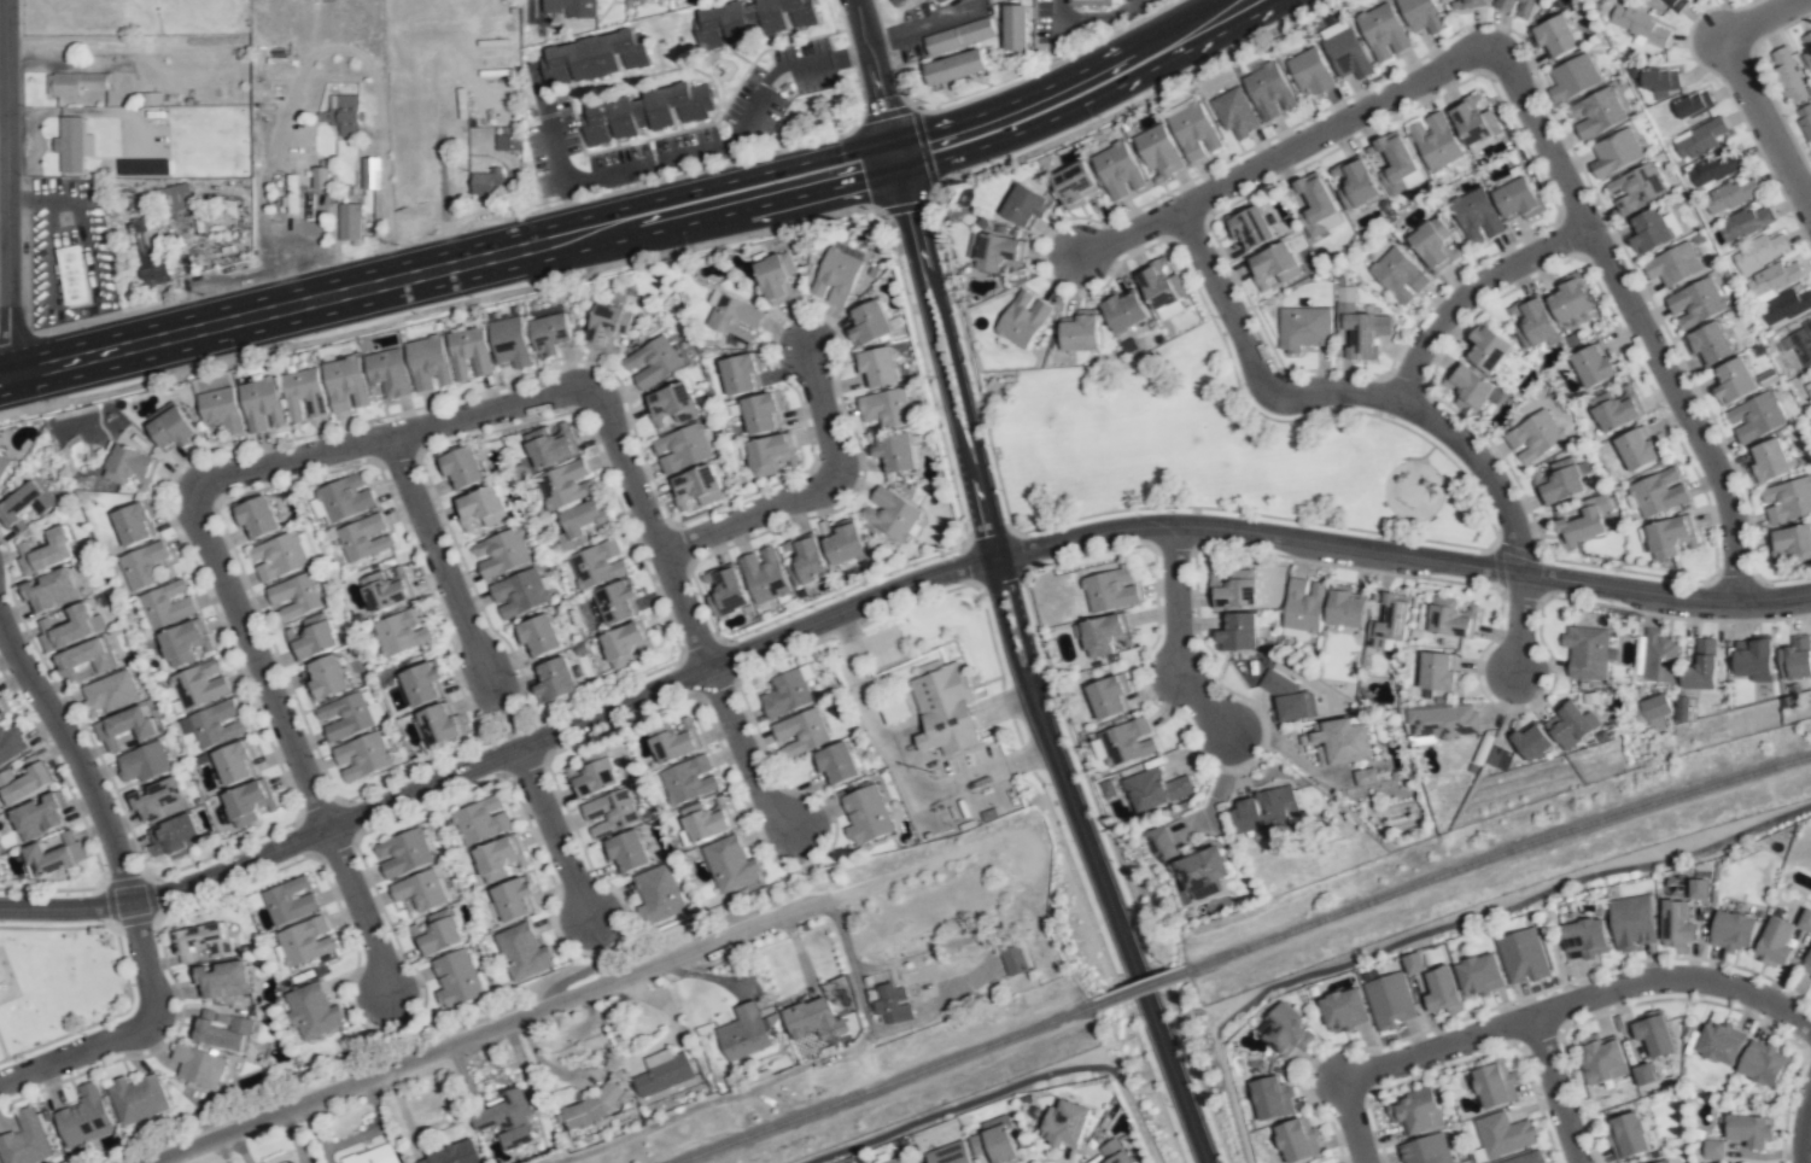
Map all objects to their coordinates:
building: (936, 0)
building: (896, 1)
building: (1089, 2)
building: (1472, 2)
building: (1525, 4)
building: (1677, 4)
road: (525, 7)
building: (571, 7)
road: (1051, 11)
building: (1421, 14)
building: (750, 21)
road: (1096, 21)
road: (928, 24)
building: (1642, 25)
building: (1015, 28)
building: (1332, 29)
building: (1383, 29)
road: (1186, 31)
building: (958, 36)
building: (1554, 37)
building: (1807, 45)
building: (1346, 54)
building: (592, 58)
building: (1307, 66)
building: (954, 68)
building: (1786, 68)
road: (886, 75)
building: (1573, 77)
road: (1092, 81)
building: (1661, 81)
building: (74, 83)
road: (1746, 87)
building: (1269, 92)
building: (1694, 105)
road: (284, 110)
building: (1235, 112)
building: (644, 113)
building: (1595, 113)
building: (345, 115)
road: (5, 119)
building: (1806, 119)
building: (1473, 121)
building: (1193, 132)
road: (1327, 134)
building: (1150, 139)
building: (1699, 140)
building: (1436, 141)
building: (507, 142)
building: (72, 145)
road: (699, 148)
building: (1616, 153)
building: (1398, 164)
building: (1717, 169)
building: (1118, 171)
building: (320, 177)
building: (485, 181)
building: (1073, 182)
building: (1355, 183)
road: (11, 186)
building: (1636, 188)
road: (724, 194)
building: (1733, 194)
building: (175, 198)
building: (1517, 199)
road: (382, 200)
road: (1810, 204)
building: (1024, 205)
building: (1477, 216)
building: (1331, 218)
building: (350, 221)
building: (1746, 223)
building: (1249, 228)
building: (1649, 230)
road: (1126, 242)
building: (1431, 244)
building: (148, 251)
building: (997, 251)
building: (1760, 252)
building: (1275, 264)
building: (1673, 264)
building: (836, 274)
building: (72, 275)
building: (1400, 275)
building: (772, 276)
building: (1774, 279)
building: (1157, 284)
road: (1466, 296)
building: (1568, 298)
building: (1695, 303)
building: (1786, 308)
building: (1122, 310)
building: (1170, 310)
road: (1631, 316)
building: (732, 318)
building: (1533, 321)
building: (869, 323)
building: (1016, 326)
road: (193, 327)
building: (603, 327)
building: (1356, 327)
building: (550, 329)
building: (1301, 329)
building: (1081, 331)
building: (510, 341)
building: (1803, 343)
building: (1708, 344)
building: (1486, 347)
building: (469, 353)
building: (652, 362)
building: (428, 363)
building: (1595, 366)
building: (876, 367)
building: (389, 373)
building: (738, 374)
building: (1810, 379)
building: (1734, 381)
building: (345, 384)
building: (1470, 388)
building: (303, 395)
road: (1340, 397)
building: (261, 404)
building: (671, 407)
building: (886, 408)
building: (221, 409)
building: (1616, 409)
building: (761, 413)
building: (1755, 417)
building: (171, 428)
road: (399, 433)
building: (1533, 436)
building: (550, 444)
building: (680, 448)
park: (1205, 448)
building: (1636, 450)
building: (890, 451)
building: (771, 455)
building: (1768, 461)
building: (2, 466)
building: (130, 467)
building: (460, 468)
building: (1559, 481)
building: (566, 484)
building: (696, 486)
road: (817, 491)
building: (1658, 492)
building: (345, 497)
building: (1788, 499)
building: (25, 505)
building: (480, 508)
building: (890, 514)
building: (256, 518)
building: (135, 522)
building: (579, 524)
building: (1581, 527)
road: (656, 530)
building: (1669, 537)
building: (364, 538)
building: (1790, 543)
building: (845, 544)
building: (46, 551)
building: (501, 553)
building: (278, 556)
building: (806, 560)
road: (449, 562)
building: (591, 563)
road: (999, 563)
building: (141, 565)
building: (765, 574)
building: (387, 589)
building: (1232, 589)
building: (49, 590)
building: (1111, 590)
building: (519, 592)
building: (728, 592)
building: (294, 596)
road: (884, 600)
building: (617, 601)
building: (165, 604)
building: (1303, 604)
building: (1345, 607)
building: (1450, 618)
road: (1520, 626)
building: (66, 629)
building: (402, 631)
building: (1383, 631)
building: (1237, 632)
building: (1103, 633)
building: (537, 636)
road: (1178, 636)
building: (311, 637)
building: (183, 642)
building: (623, 644)
building: (1587, 653)
road: (268, 654)
building: (1658, 656)
building: (86, 658)
building: (1752, 659)
building: (1795, 659)
building: (1701, 667)
building: (1437, 671)
building: (325, 678)
building: (554, 680)
building: (422, 683)
building: (198, 684)
building: (109, 692)
building: (785, 694)
building: (1106, 697)
building: (1289, 700)
building: (1658, 706)
building: (2, 707)
building: (895, 708)
building: (1682, 708)
building: (945, 712)
building: (349, 715)
building: (1445, 721)
building: (216, 724)
building: (442, 724)
building: (1567, 725)
building: (124, 729)
building: (801, 729)
building: (1127, 741)
building: (1530, 741)
building: (674, 742)
building: (1339, 742)
building: (11, 743)
road: (72, 753)
building: (362, 755)
road: (750, 758)
building: (1496, 758)
building: (144, 762)
building: (235, 762)
building: (837, 764)
building: (590, 776)
building: (1365, 776)
building: (689, 779)
building: (24, 781)
building: (1156, 789)
building: (160, 800)
building: (249, 802)
building: (594, 808)
building: (1262, 811)
building: (37, 817)
building: (865, 817)
building: (707, 819)
building: (481, 820)
building: (597, 831)
road: (566, 834)
building: (173, 836)
building: (1161, 845)
building: (626, 852)
building: (403, 853)
building: (54, 854)
railway: (1496, 855)
building: (498, 858)
road: (1116, 861)
building: (730, 864)
road: (1073, 864)
road: (922, 869)
building: (1207, 870)
building: (1699, 889)
building: (420, 890)
building: (658, 894)
building: (513, 899)
building: (290, 900)
road: (372, 910)
building: (1805, 919)
building: (1632, 921)
building: (1677, 924)
road: (1441, 928)
building: (1734, 931)
building: (437, 933)
building: (1585, 939)
building: (200, 941)
building: (305, 941)
building: (1775, 942)
road: (1555, 949)
building: (522, 952)
road: (993, 954)
building: (1523, 954)
building: (1013, 959)
road: (852, 962)
building: (1414, 963)
building: (1807, 965)
building: (1479, 975)
building: (221, 978)
building: (457, 978)
park: (59, 981)
building: (1443, 988)
railway: (1140, 989)
building: (1380, 995)
road: (1573, 1001)
building: (893, 1004)
building: (1343, 1010)
building: (312, 1011)
building: (813, 1019)
road: (133, 1029)
building: (221, 1030)
road: (485, 1030)
building: (1285, 1031)
building: (743, 1033)
building: (1653, 1034)
building: (1719, 1042)
building: (1601, 1058)
road: (1170, 1064)
building: (1760, 1064)
building: (199, 1065)
building: (664, 1073)
building: (1643, 1074)
railway: (886, 1085)
building: (1494, 1085)
road: (1011, 1089)
road: (1553, 1089)
building: (136, 1098)
building: (1272, 1098)
road: (715, 1099)
building: (1414, 1111)
building: (584, 1112)
building: (83, 1117)
building: (507, 1118)
road: (1349, 1122)
building: (1064, 1124)
building: (1749, 1130)
road: (1805, 1135)
building: (1515, 1136)
building: (1628, 1136)
building: (24, 1140)
building: (998, 1140)
building: (1296, 1140)
building: (1711, 1150)
building: (1114, 1152)
building: (1418, 1153)
building: (373, 1155)
building: (451, 1155)
building: (951, 1156)
building: (1524, 1159)
building: (849, 1162)
building: (895, 1162)
building: (1663, 1162)

